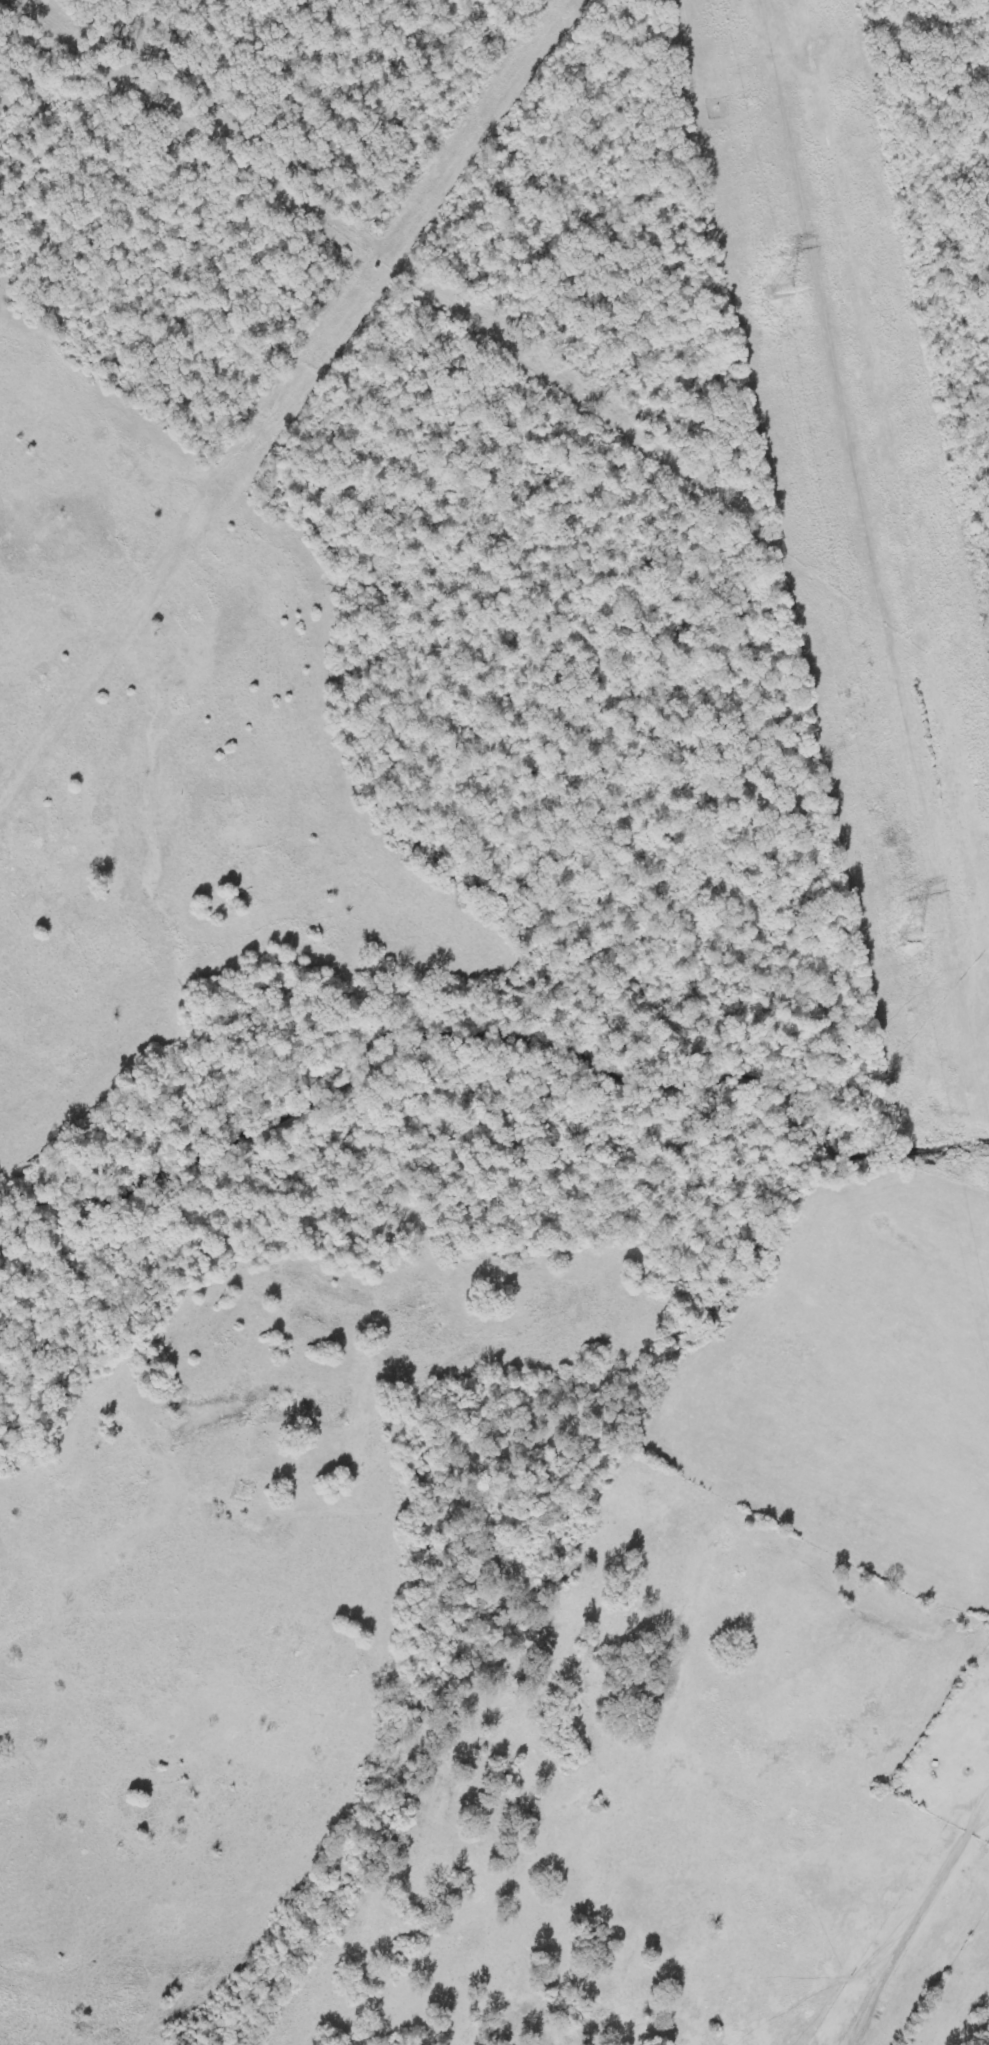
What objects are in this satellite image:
railway: (962, 182)
power tower: (782, 289)
power tower: (910, 935)

